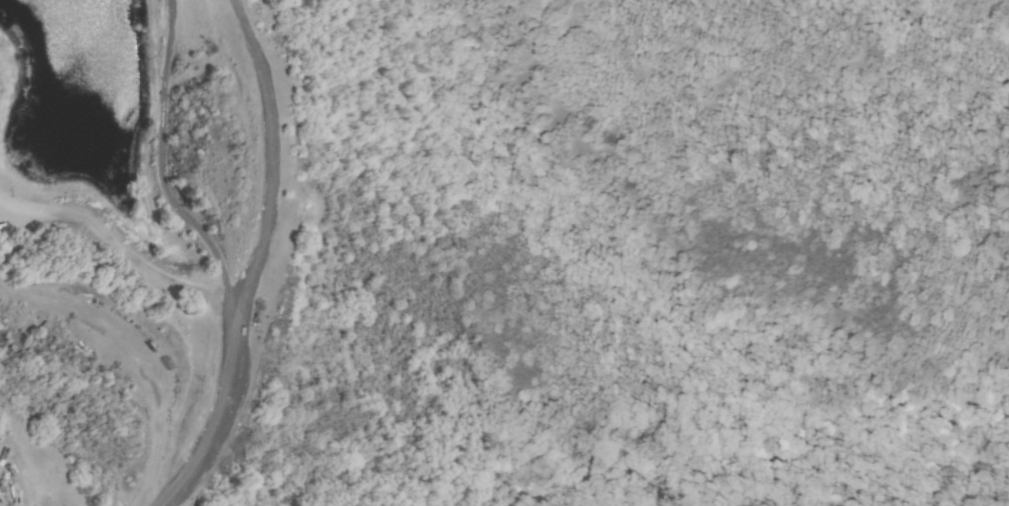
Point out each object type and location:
road: (256, 259)
building: (163, 363)

